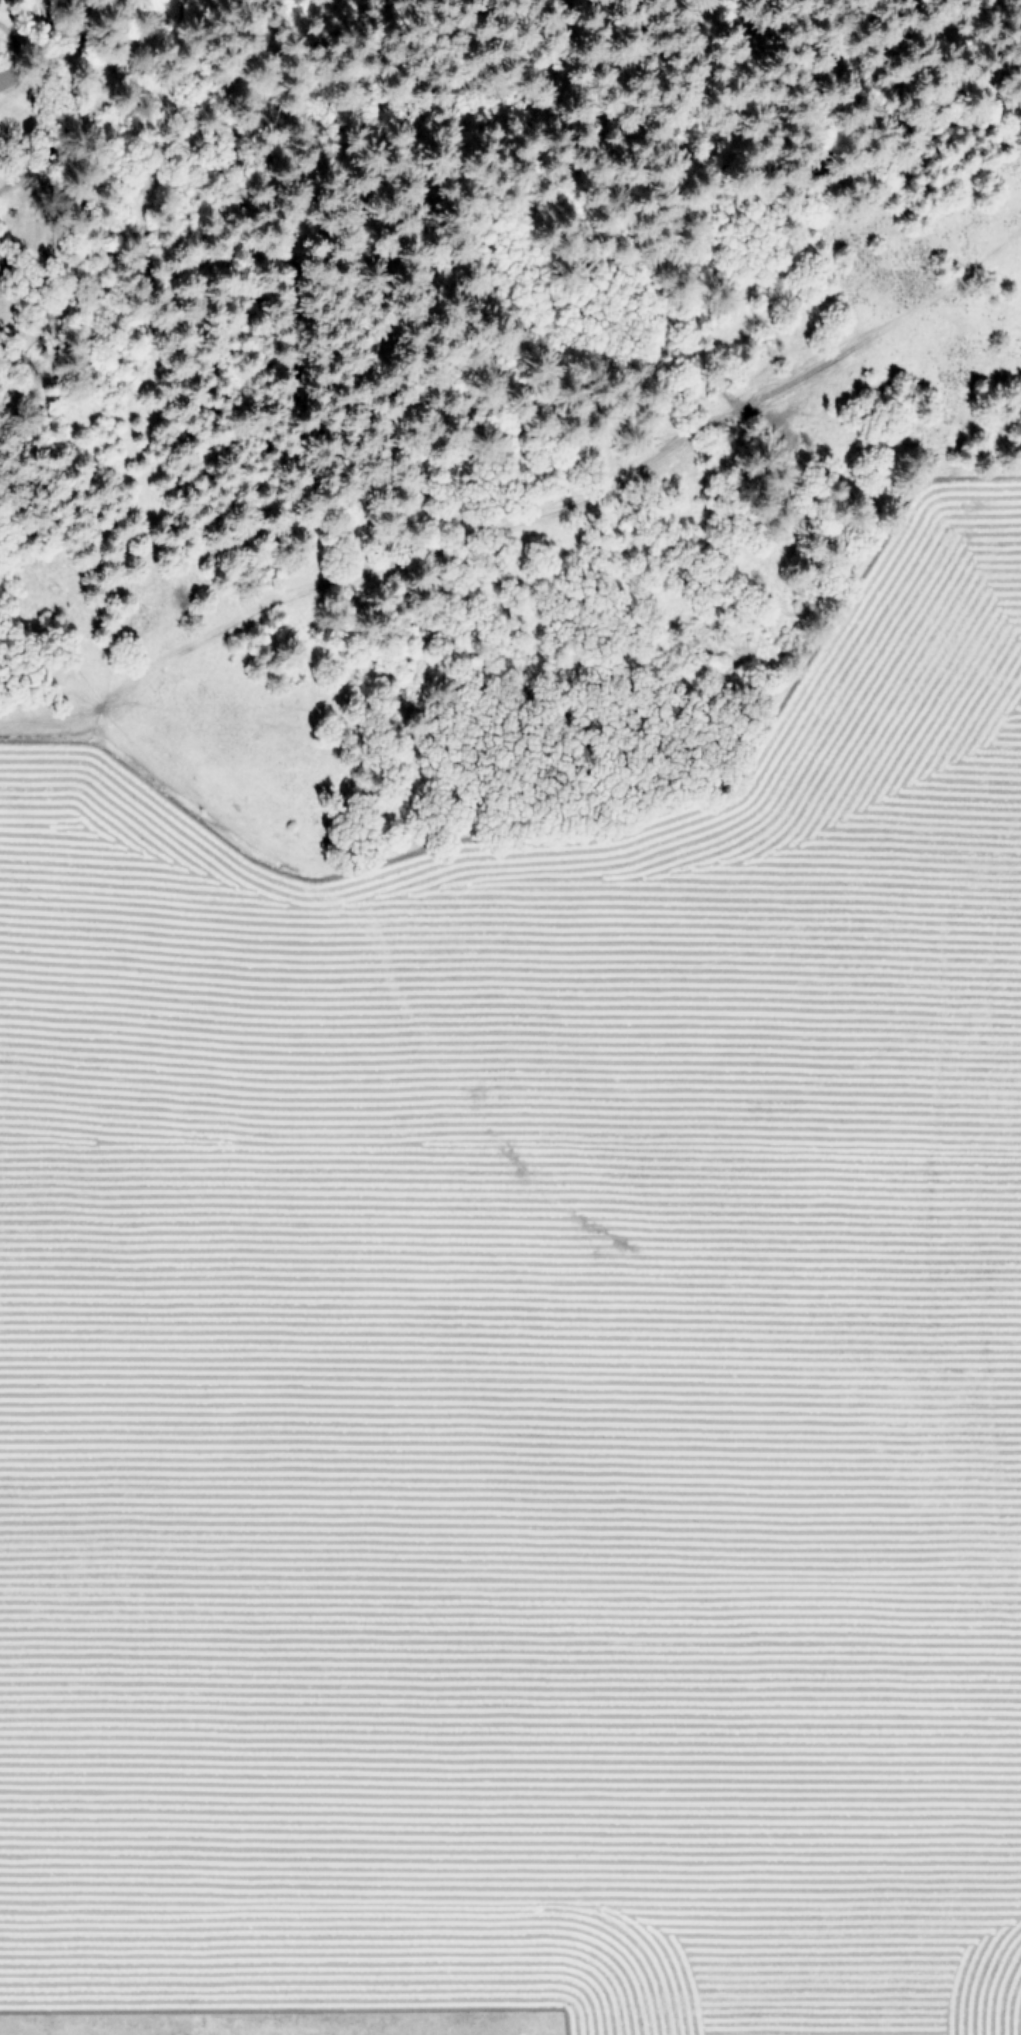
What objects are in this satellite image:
road: (530, 511)

